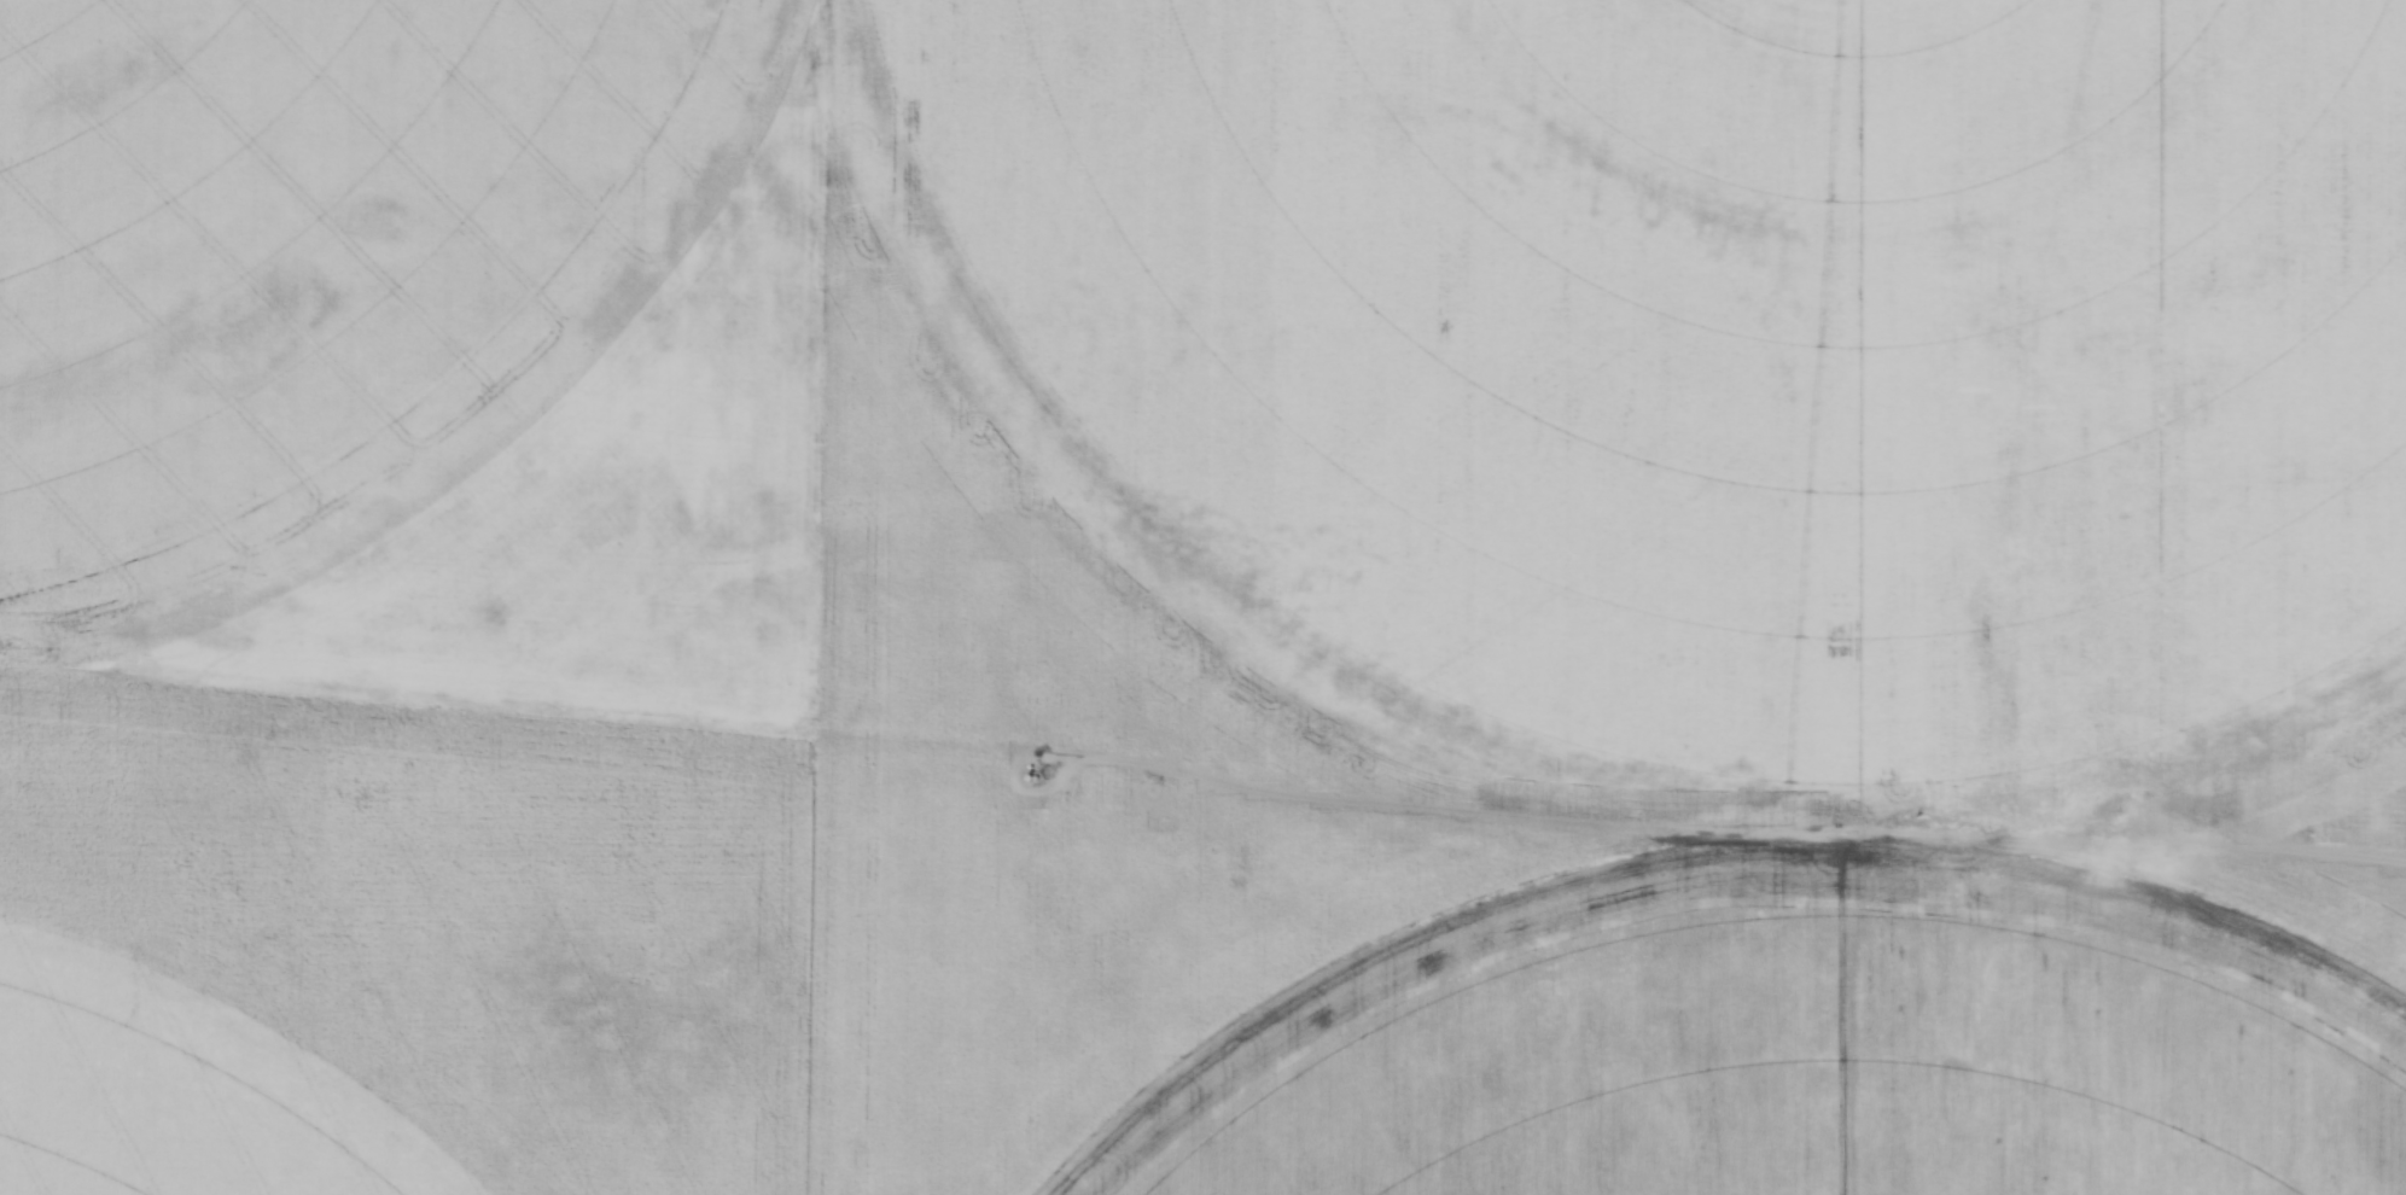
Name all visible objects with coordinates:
building: (2116, 845)
building: (2159, 849)

